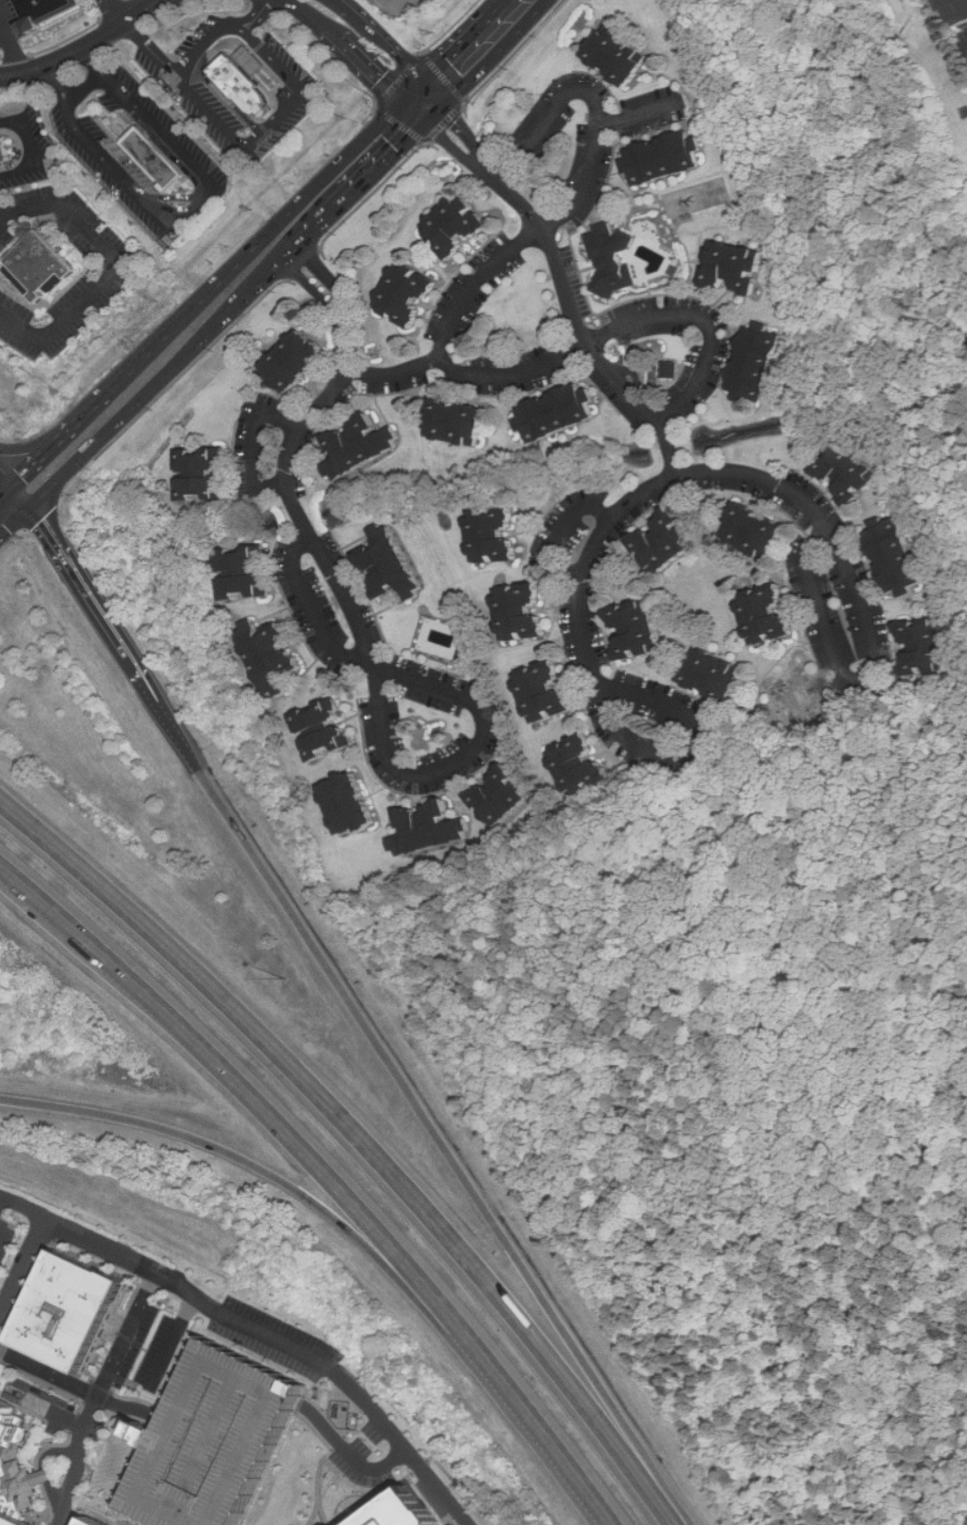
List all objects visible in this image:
road: (398, 1)
road: (348, 8)
building: (45, 9)
road: (119, 11)
building: (958, 11)
road: (308, 13)
road: (258, 15)
parking lot: (10, 25)
road: (6, 33)
road: (460, 46)
road: (150, 47)
road: (85, 49)
road: (394, 51)
road: (491, 55)
building: (620, 55)
road: (18, 60)
road: (364, 69)
road: (87, 88)
building: (243, 88)
traffic signals: (415, 93)
road: (426, 102)
road: (596, 103)
traffic signals: (438, 111)
road: (633, 115)
road: (236, 140)
road: (35, 148)
building: (5, 150)
building: (665, 159)
building: (155, 160)
parking lot: (138, 167)
road: (486, 169)
road: (292, 211)
road: (189, 213)
road: (8, 223)
building: (459, 226)
building: (609, 258)
building: (38, 267)
building: (737, 267)
road: (118, 271)
building: (410, 294)
road: (218, 320)
road: (701, 321)
road: (441, 352)
road: (599, 357)
building: (298, 361)
building: (760, 364)
building: (669, 369)
road: (395, 370)
road: (86, 414)
building: (558, 414)
building: (459, 422)
building: (362, 446)
road: (253, 447)
road: (35, 450)
road: (10, 470)
building: (852, 472)
road: (688, 473)
building: (203, 474)
traffic signals: (20, 477)
traffic signals: (35, 498)
road: (561, 529)
building: (757, 531)
building: (496, 537)
building: (667, 542)
building: (898, 555)
building: (393, 565)
building: (246, 572)
road: (94, 583)
road: (805, 587)
road: (313, 609)
building: (524, 613)
road: (352, 615)
building: (771, 615)
building: (639, 630)
building: (928, 647)
building: (273, 652)
building: (465, 653)
building: (715, 675)
building: (548, 692)
building: (804, 697)
building: (325, 729)
road: (699, 743)
building: (584, 766)
building: (503, 797)
building: (351, 804)
building: (431, 828)
road: (227, 1074)
road: (419, 1112)
road: (361, 1140)
road: (236, 1157)
road: (22, 1208)
parking lot: (11, 1232)
road: (22, 1266)
road: (154, 1277)
building: (74, 1310)
road: (174, 1342)
road: (334, 1371)
road: (86, 1390)
road: (521, 1412)
building: (224, 1441)
parking lot: (224, 1441)
road: (54, 1450)
road: (352, 1455)
road: (78, 1460)
road: (323, 1463)
road: (416, 1469)
building: (16, 1470)
road: (47, 1477)
road: (54, 1495)
building: (415, 1513)
road: (316, 1514)
building: (97, 1521)

